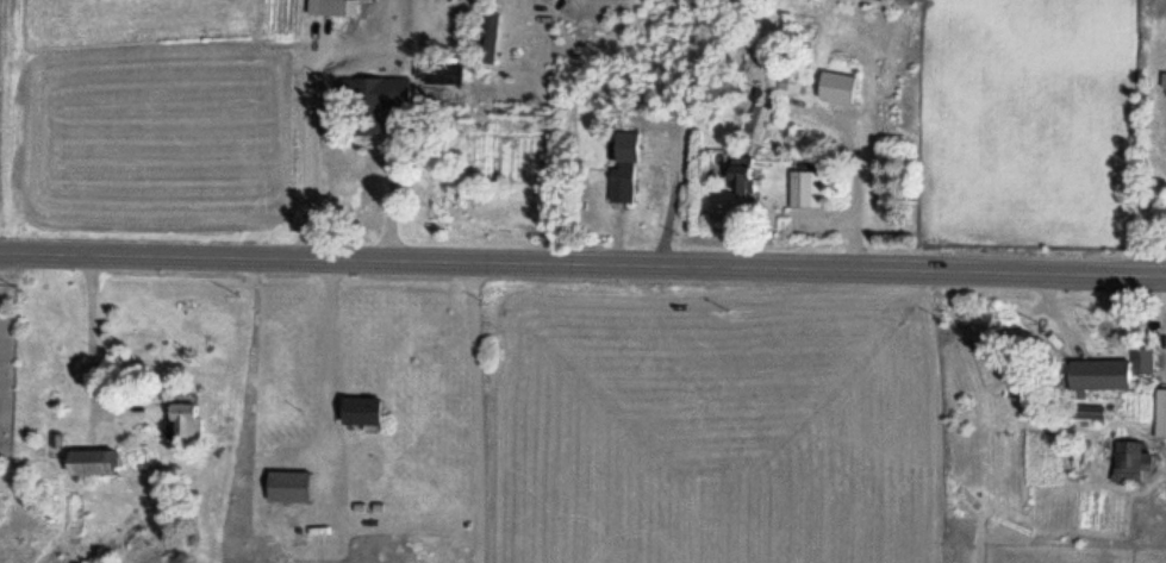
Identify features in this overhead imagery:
building: (331, 7)
building: (490, 36)
building: (437, 70)
building: (788, 79)
building: (835, 86)
building: (369, 101)
building: (757, 121)
building: (740, 174)
building: (621, 181)
building: (805, 187)
road: (582, 263)
building: (1096, 374)
building: (358, 407)
building: (1159, 411)
building: (182, 418)
building: (89, 458)
building: (1129, 459)
building: (287, 482)

